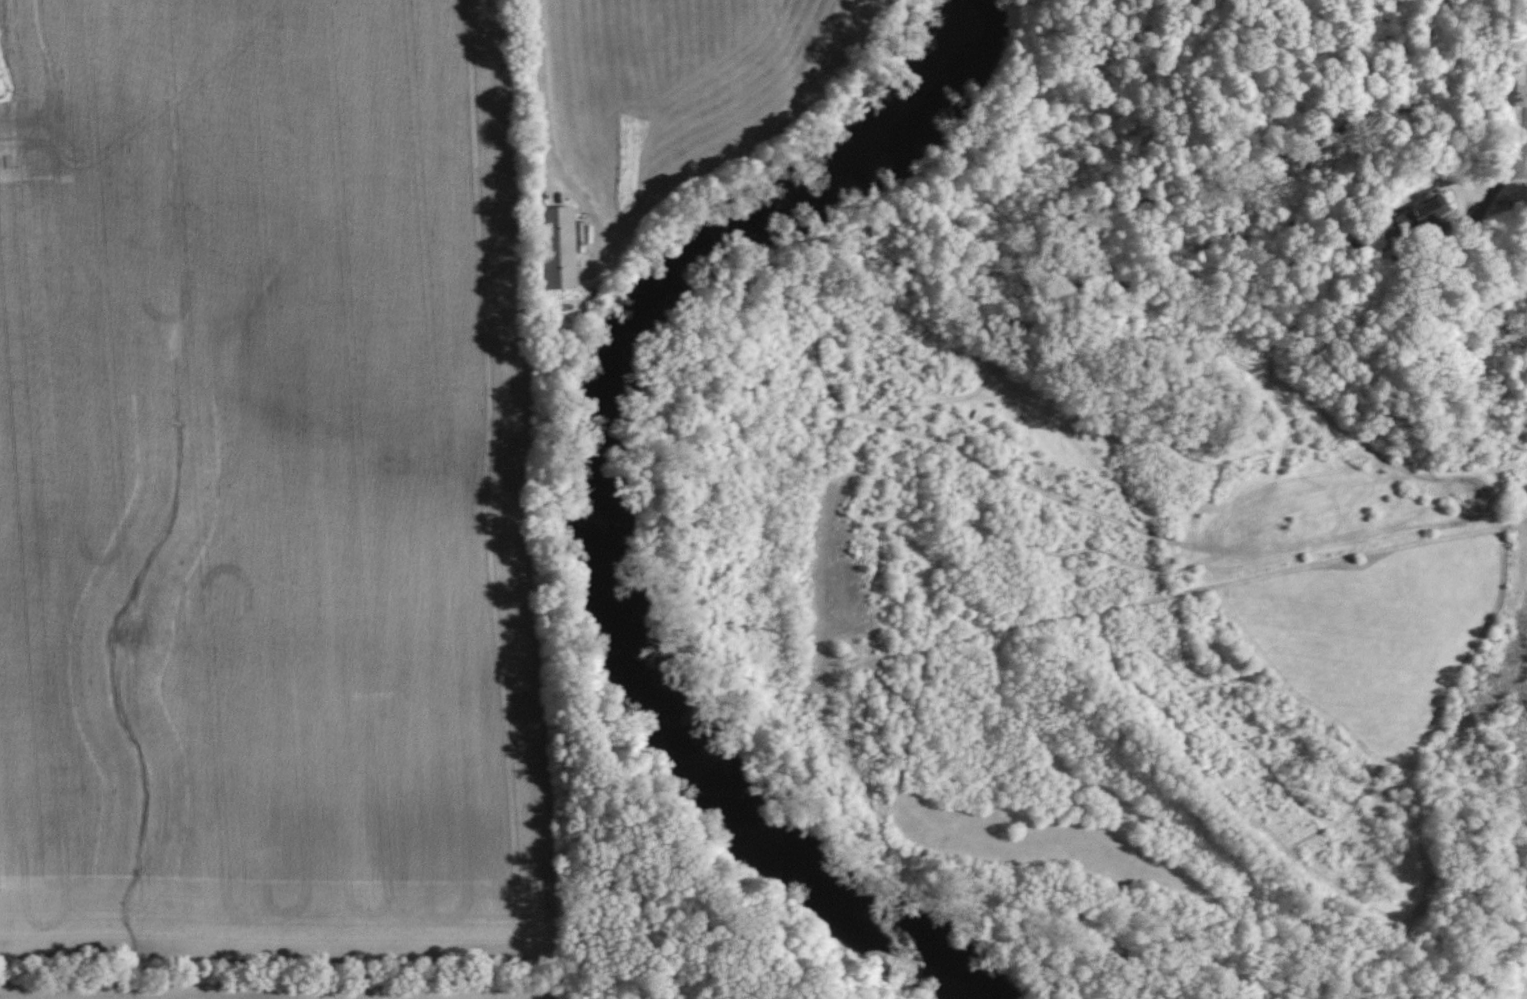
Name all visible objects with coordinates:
road: (541, 99)
road: (1516, 167)
building: (1432, 210)
building: (564, 246)
river: (616, 491)

